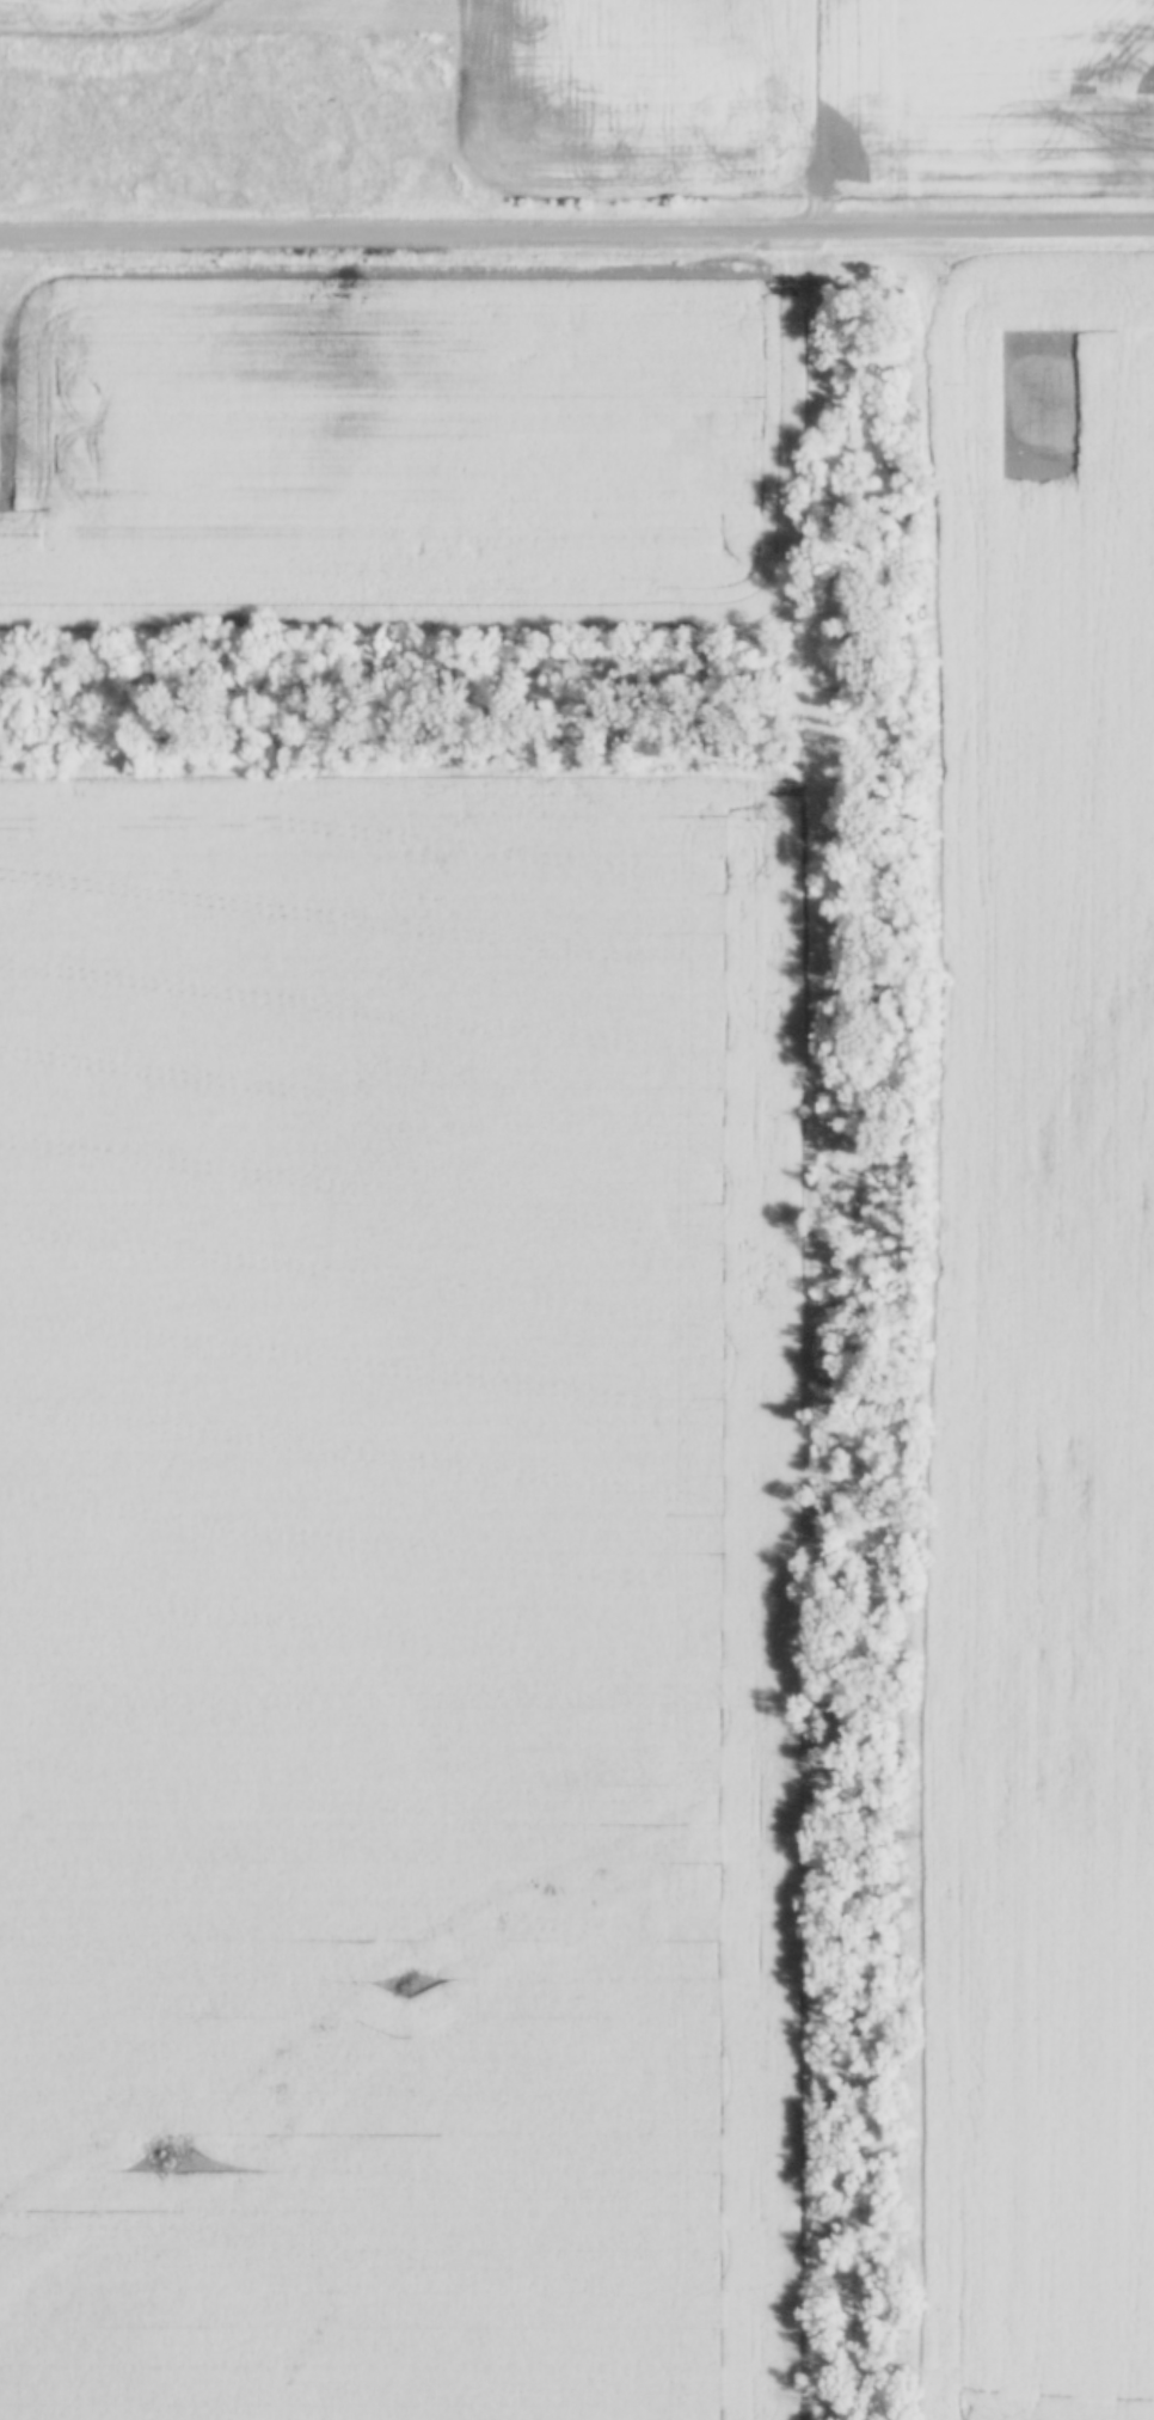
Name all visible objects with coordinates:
crop: (747, 91)
road: (576, 231)
crop: (397, 443)
road: (829, 685)
crop: (1039, 1355)
crop: (404, 1570)

